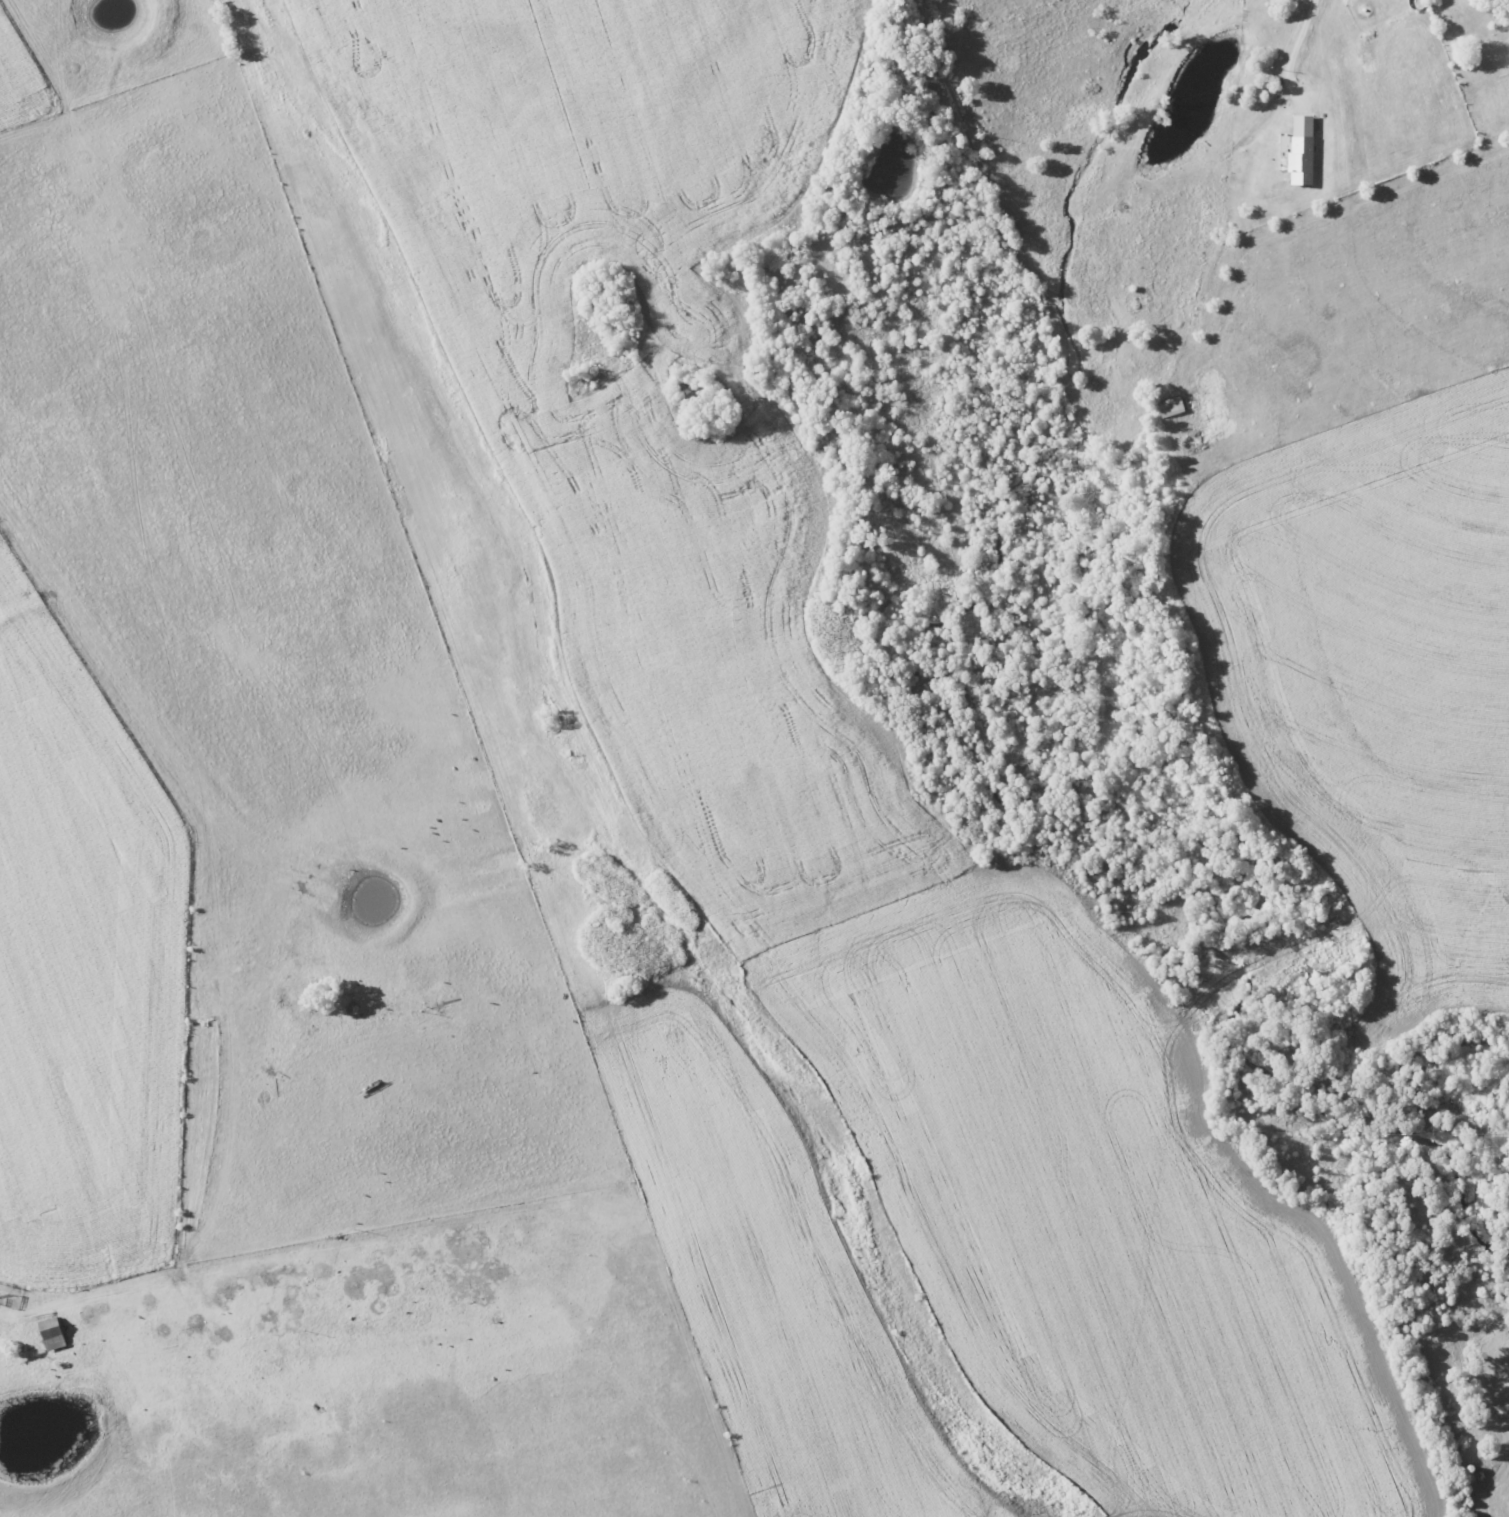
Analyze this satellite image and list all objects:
building: (1299, 150)
building: (1170, 408)

